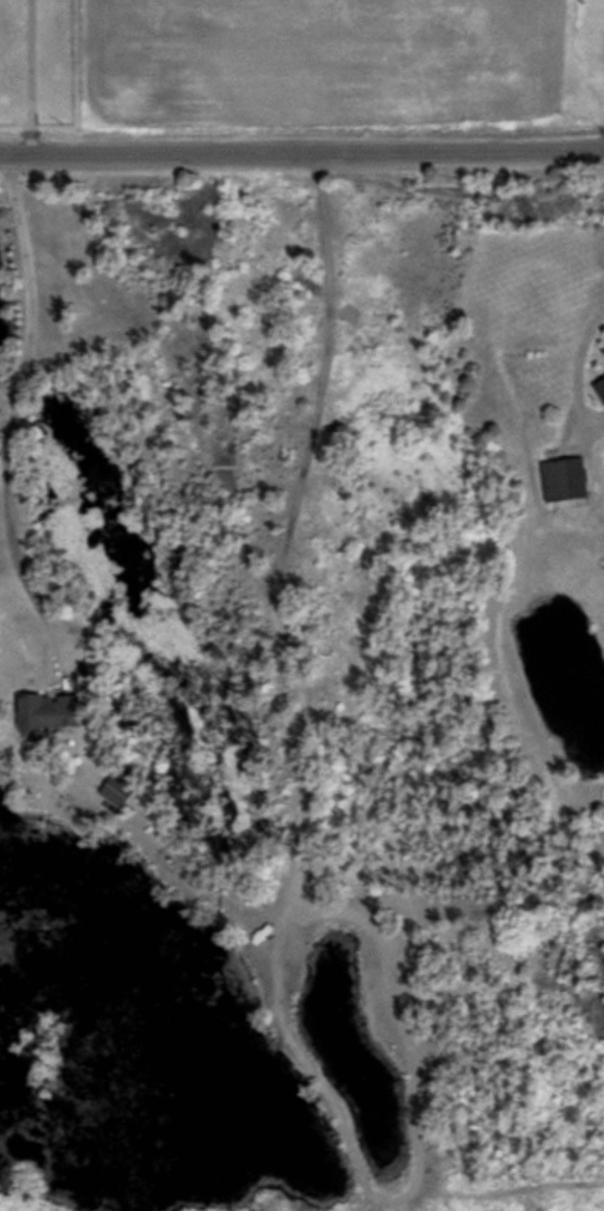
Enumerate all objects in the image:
road: (29, 77)
road: (301, 151)
road: (575, 369)
building: (599, 388)
road: (13, 415)
building: (562, 477)
building: (47, 710)
building: (116, 790)

